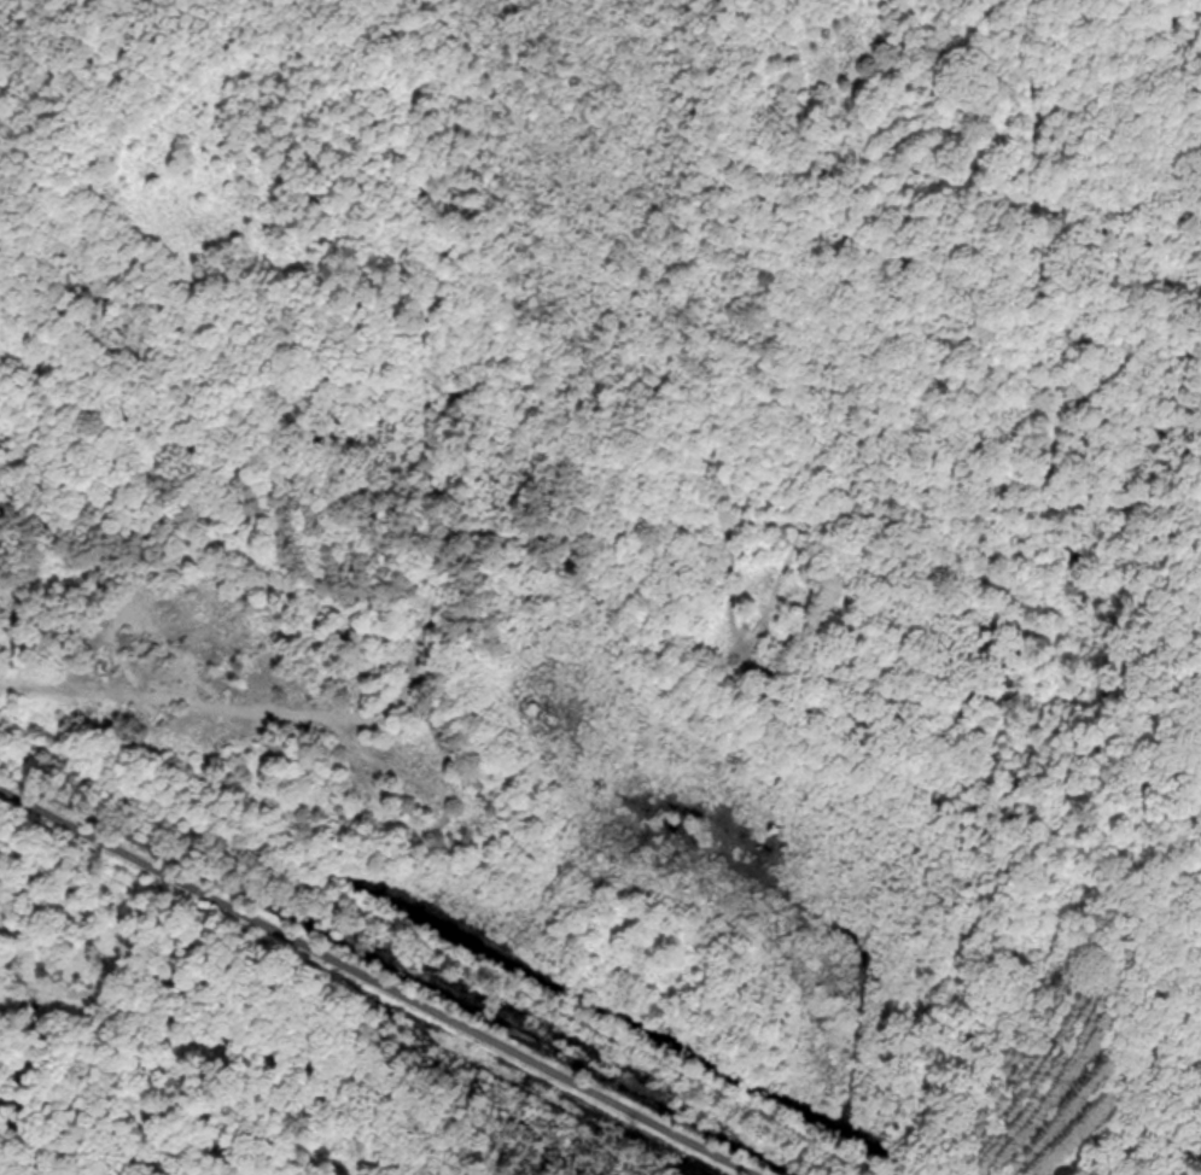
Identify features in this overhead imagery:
road: (380, 981)

